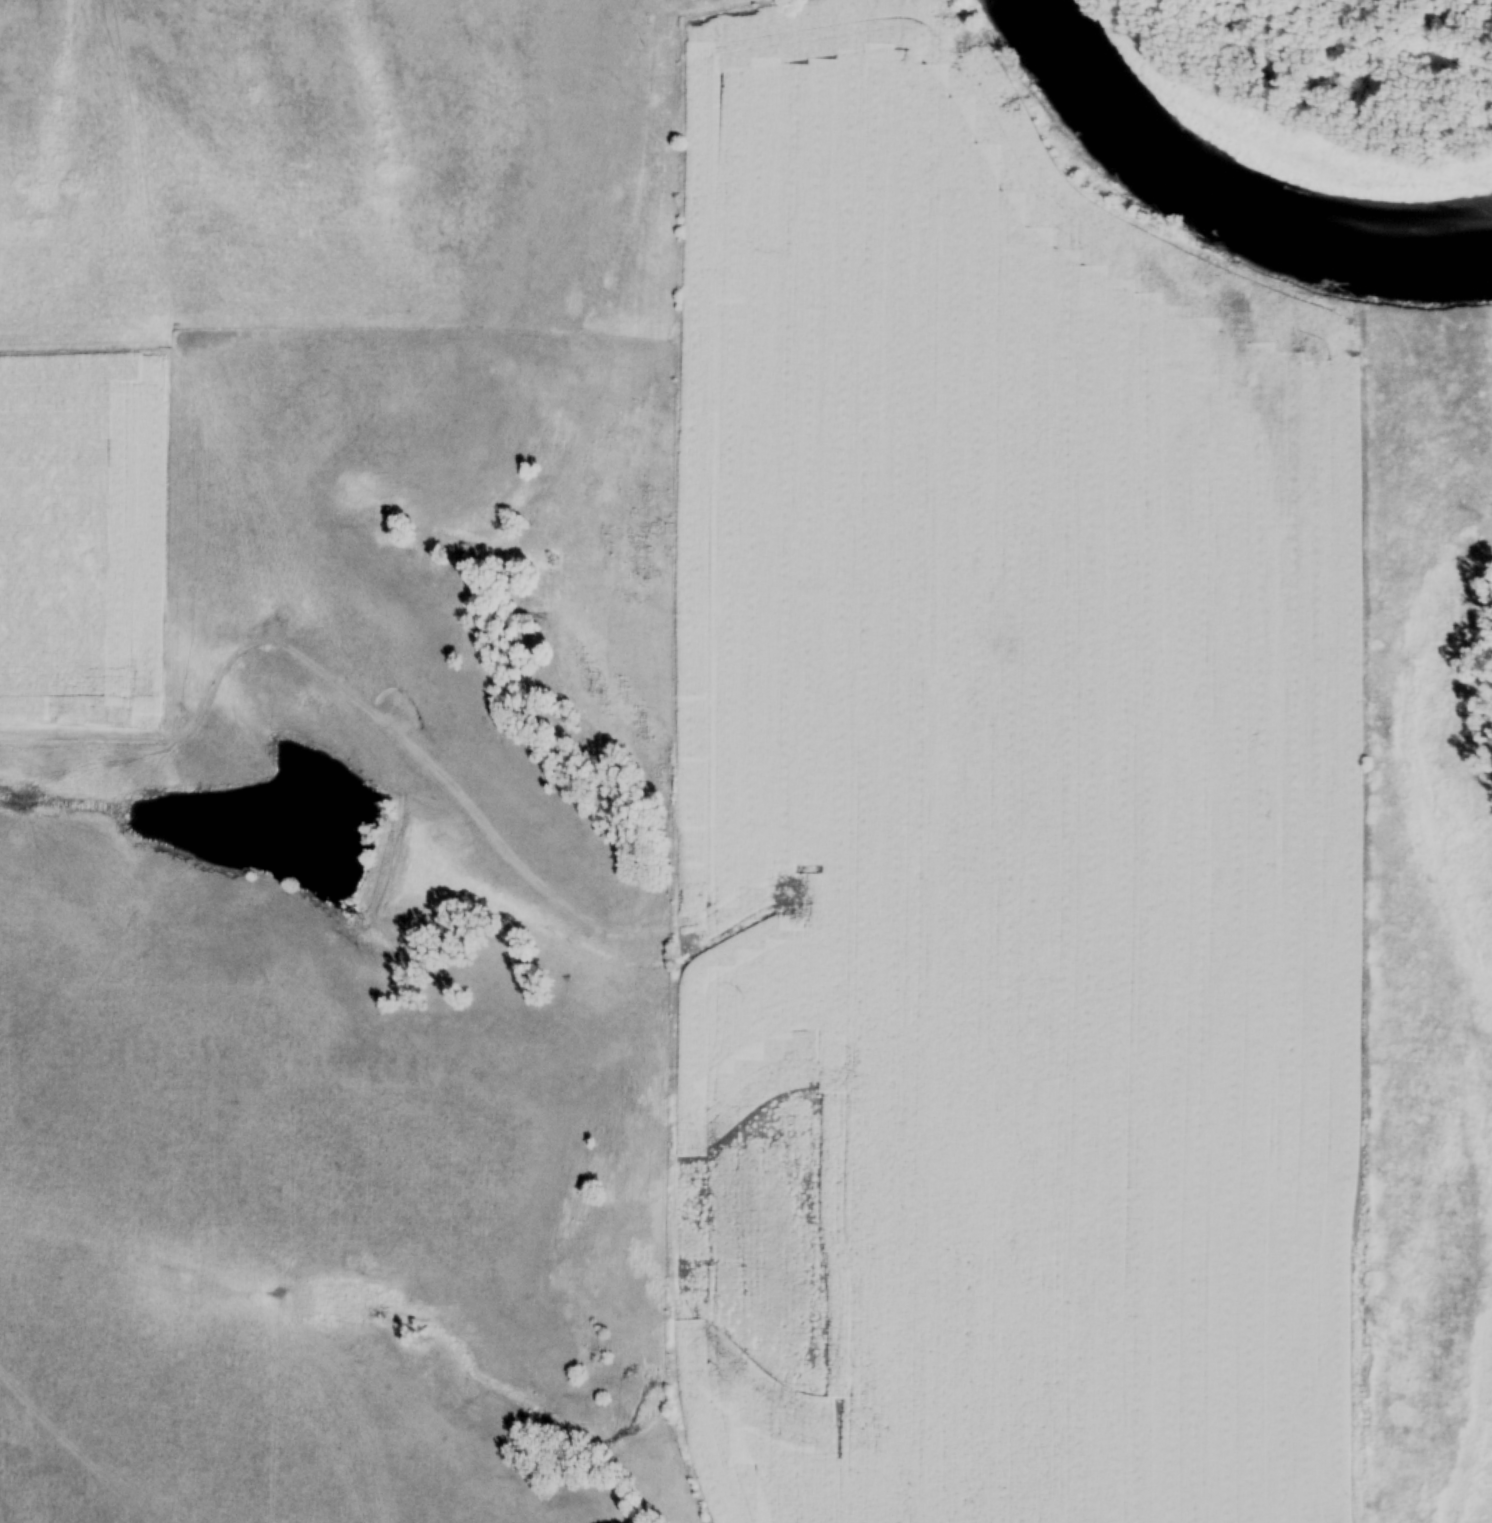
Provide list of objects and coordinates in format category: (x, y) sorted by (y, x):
river: (1232, 181)
crop: (1013, 812)

